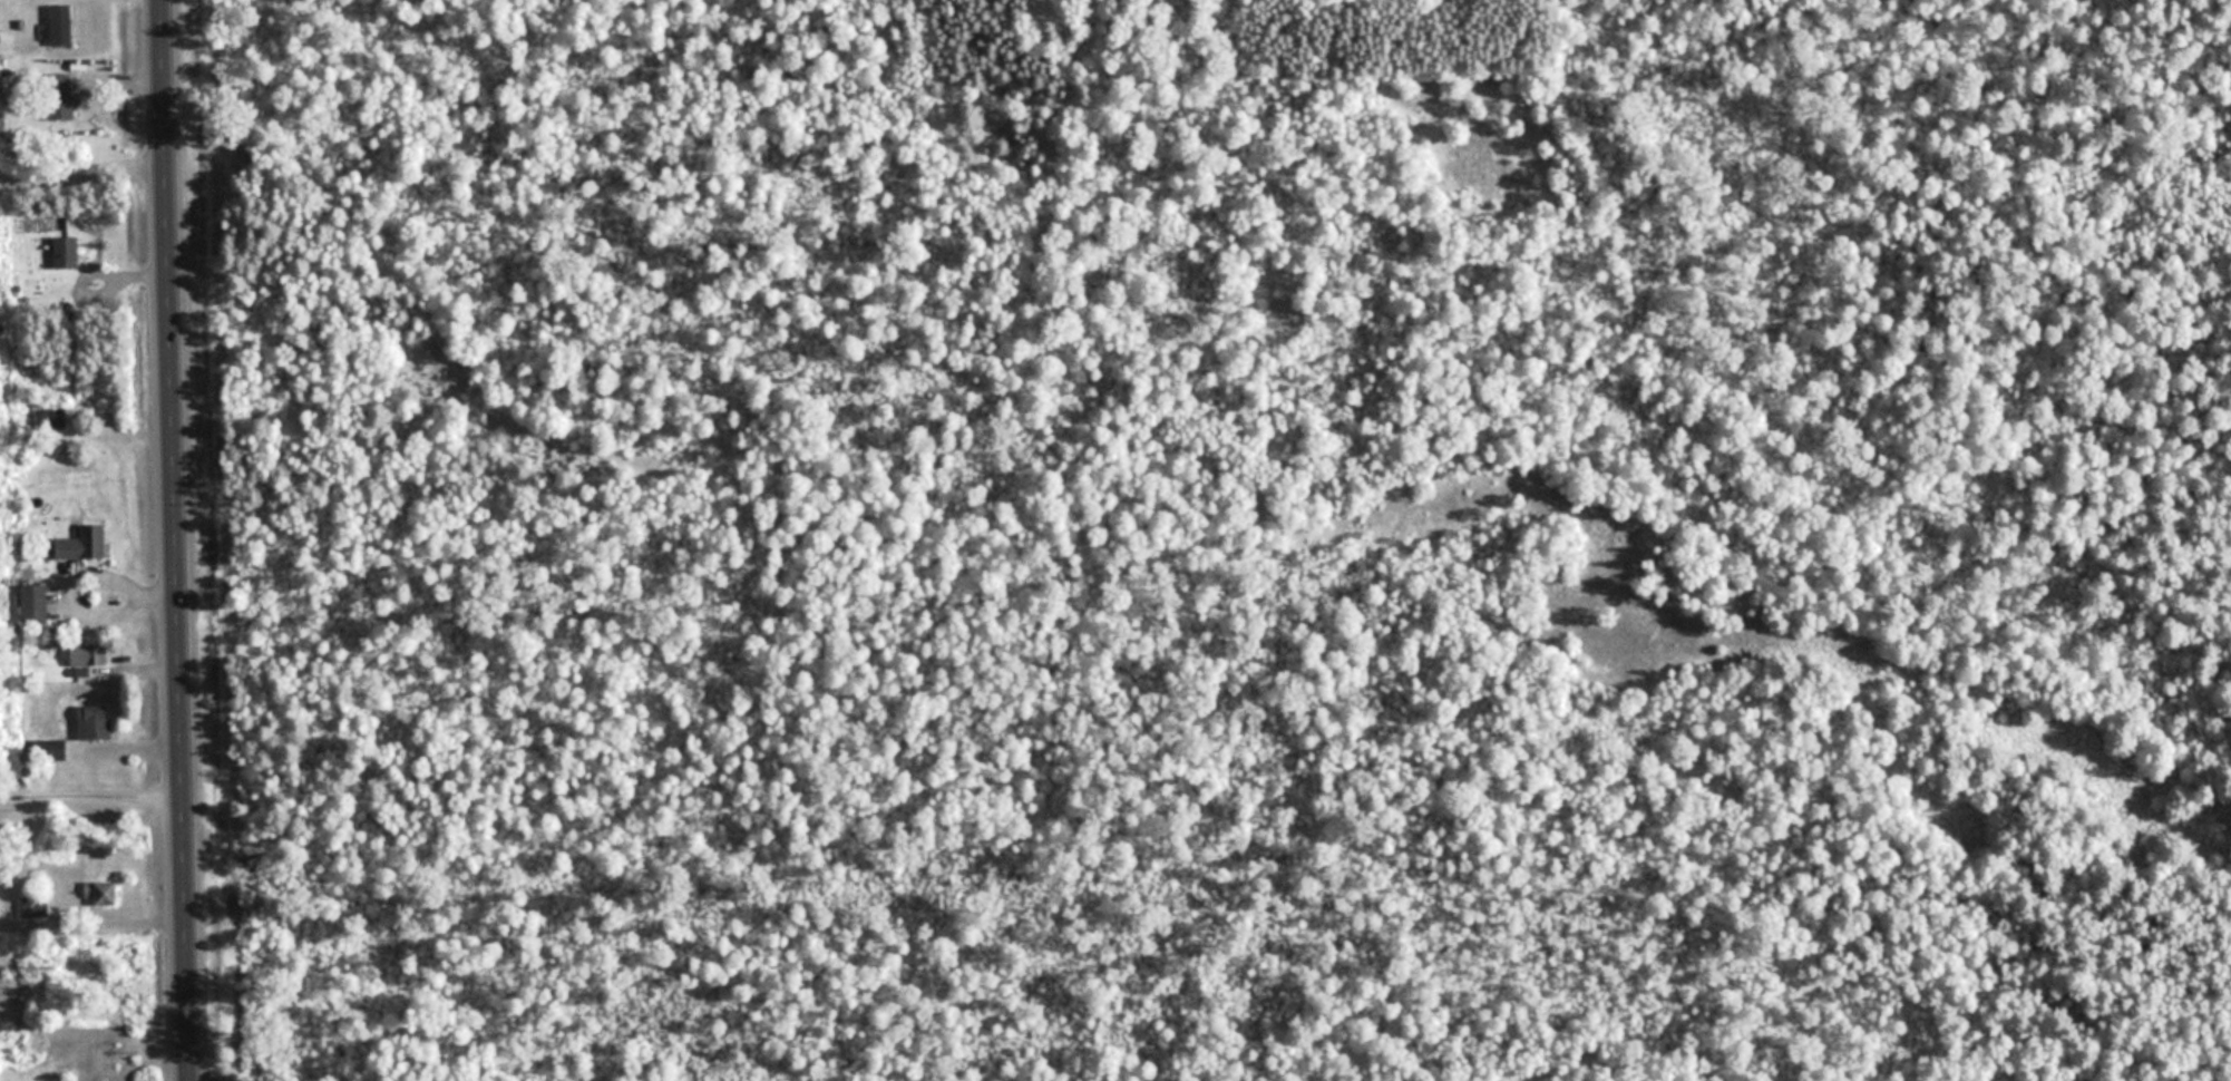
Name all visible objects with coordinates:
building: (61, 25)
building: (61, 96)
road: (82, 162)
building: (66, 252)
road: (97, 272)
building: (48, 418)
park: (1201, 539)
road: (177, 540)
building: (84, 543)
building: (35, 603)
building: (88, 654)
building: (95, 721)
building: (50, 749)
road: (91, 782)
building: (100, 893)
building: (33, 906)

